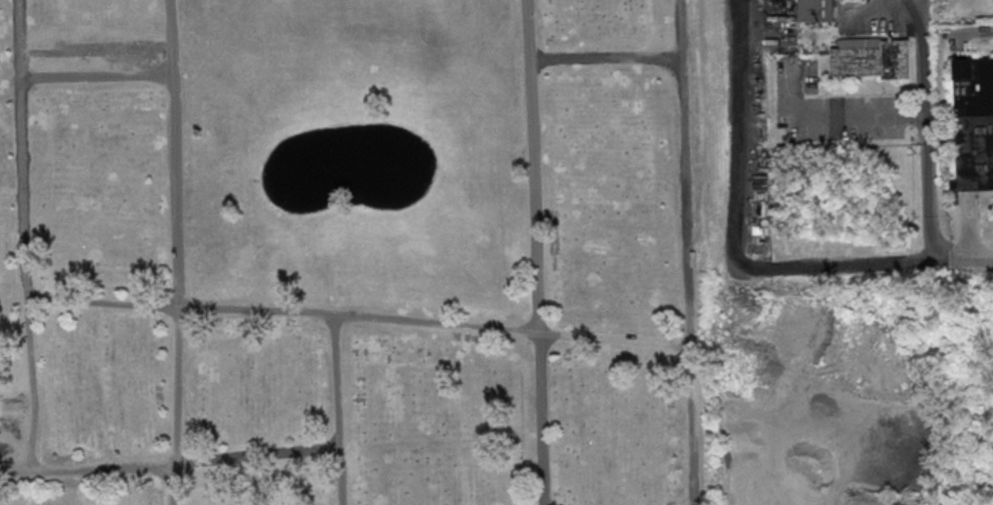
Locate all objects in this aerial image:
building: (816, 11)
road: (679, 29)
road: (975, 33)
road: (923, 37)
road: (19, 42)
building: (871, 57)
road: (836, 117)
building: (974, 123)
road: (682, 125)
road: (929, 190)
road: (21, 204)
road: (175, 252)
road: (536, 252)
park: (350, 253)
road: (875, 265)
road: (357, 316)
road: (336, 409)
road: (691, 424)
road: (169, 465)

